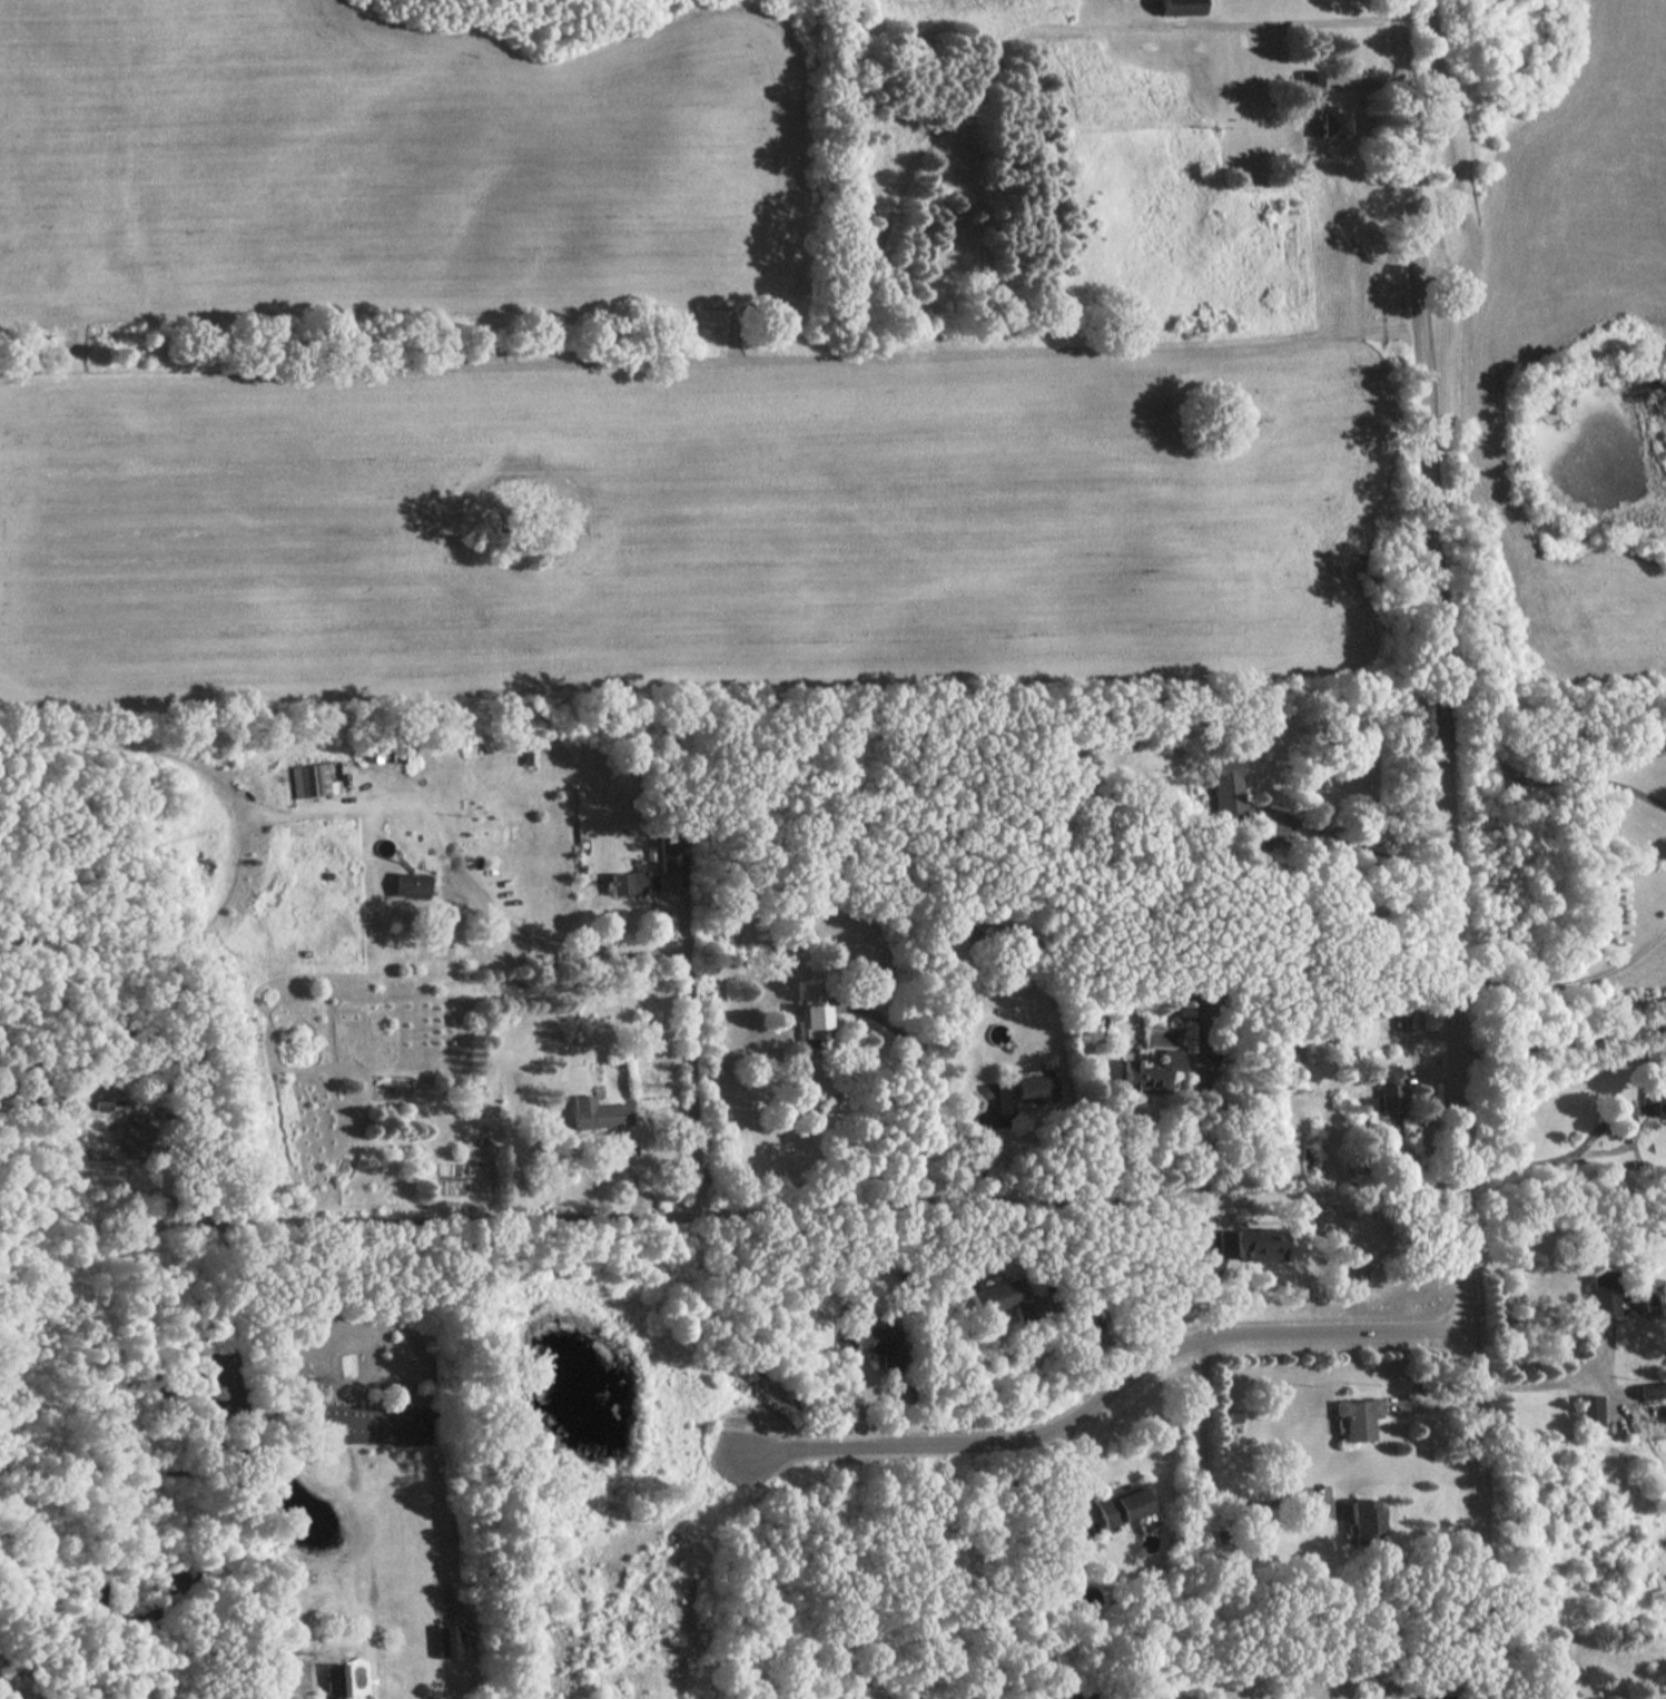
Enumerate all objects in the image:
building: (1179, 7)
building: (1320, 104)
road: (1448, 155)
road: (1557, 766)
building: (310, 779)
building: (1226, 788)
road: (1356, 846)
road: (1447, 848)
building: (669, 853)
building: (627, 882)
building: (411, 884)
road: (690, 972)
road: (1566, 985)
building: (814, 1010)
building: (1356, 1030)
road: (1559, 1043)
building: (1312, 1047)
building: (1150, 1072)
building: (1034, 1089)
building: (1388, 1090)
building: (1658, 1099)
road: (920, 1100)
building: (103, 1103)
building: (598, 1112)
road: (1200, 1130)
building: (131, 1133)
road: (1557, 1159)
road: (798, 1214)
building: (1251, 1243)
building: (1603, 1290)
building: (1005, 1297)
building: (881, 1344)
road: (1546, 1381)
road: (1106, 1388)
building: (1653, 1389)
building: (1589, 1410)
building: (1233, 1416)
building: (1358, 1416)
road: (1203, 1461)
road: (1069, 1473)
building: (1122, 1503)
building: (1367, 1519)
building: (448, 1640)
building: (333, 1682)
road: (276, 1690)
building: (1076, 1696)
road: (1469, 1696)
road: (1660, 1697)

